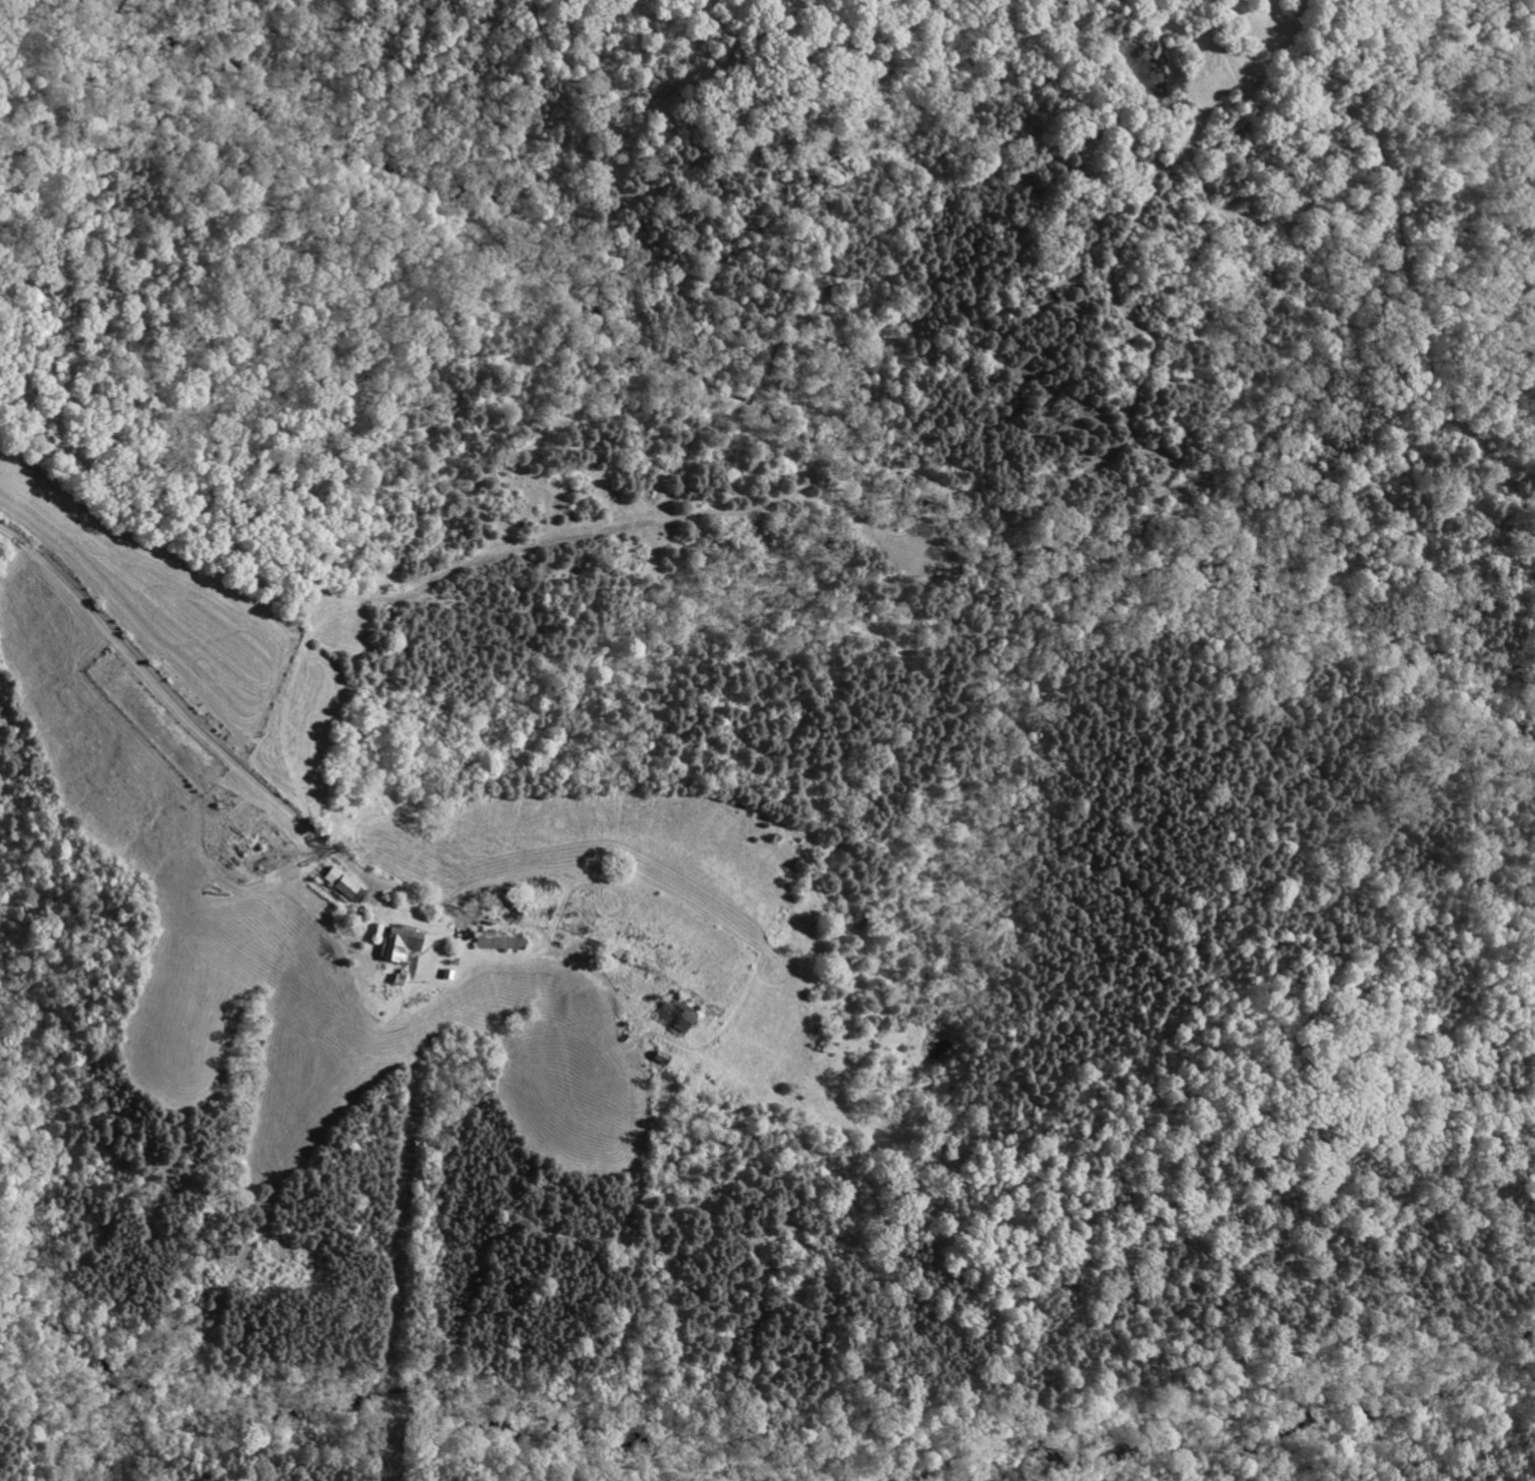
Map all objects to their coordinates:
road: (239, 800)
building: (340, 884)
building: (497, 941)
building: (399, 943)
building: (670, 1017)

